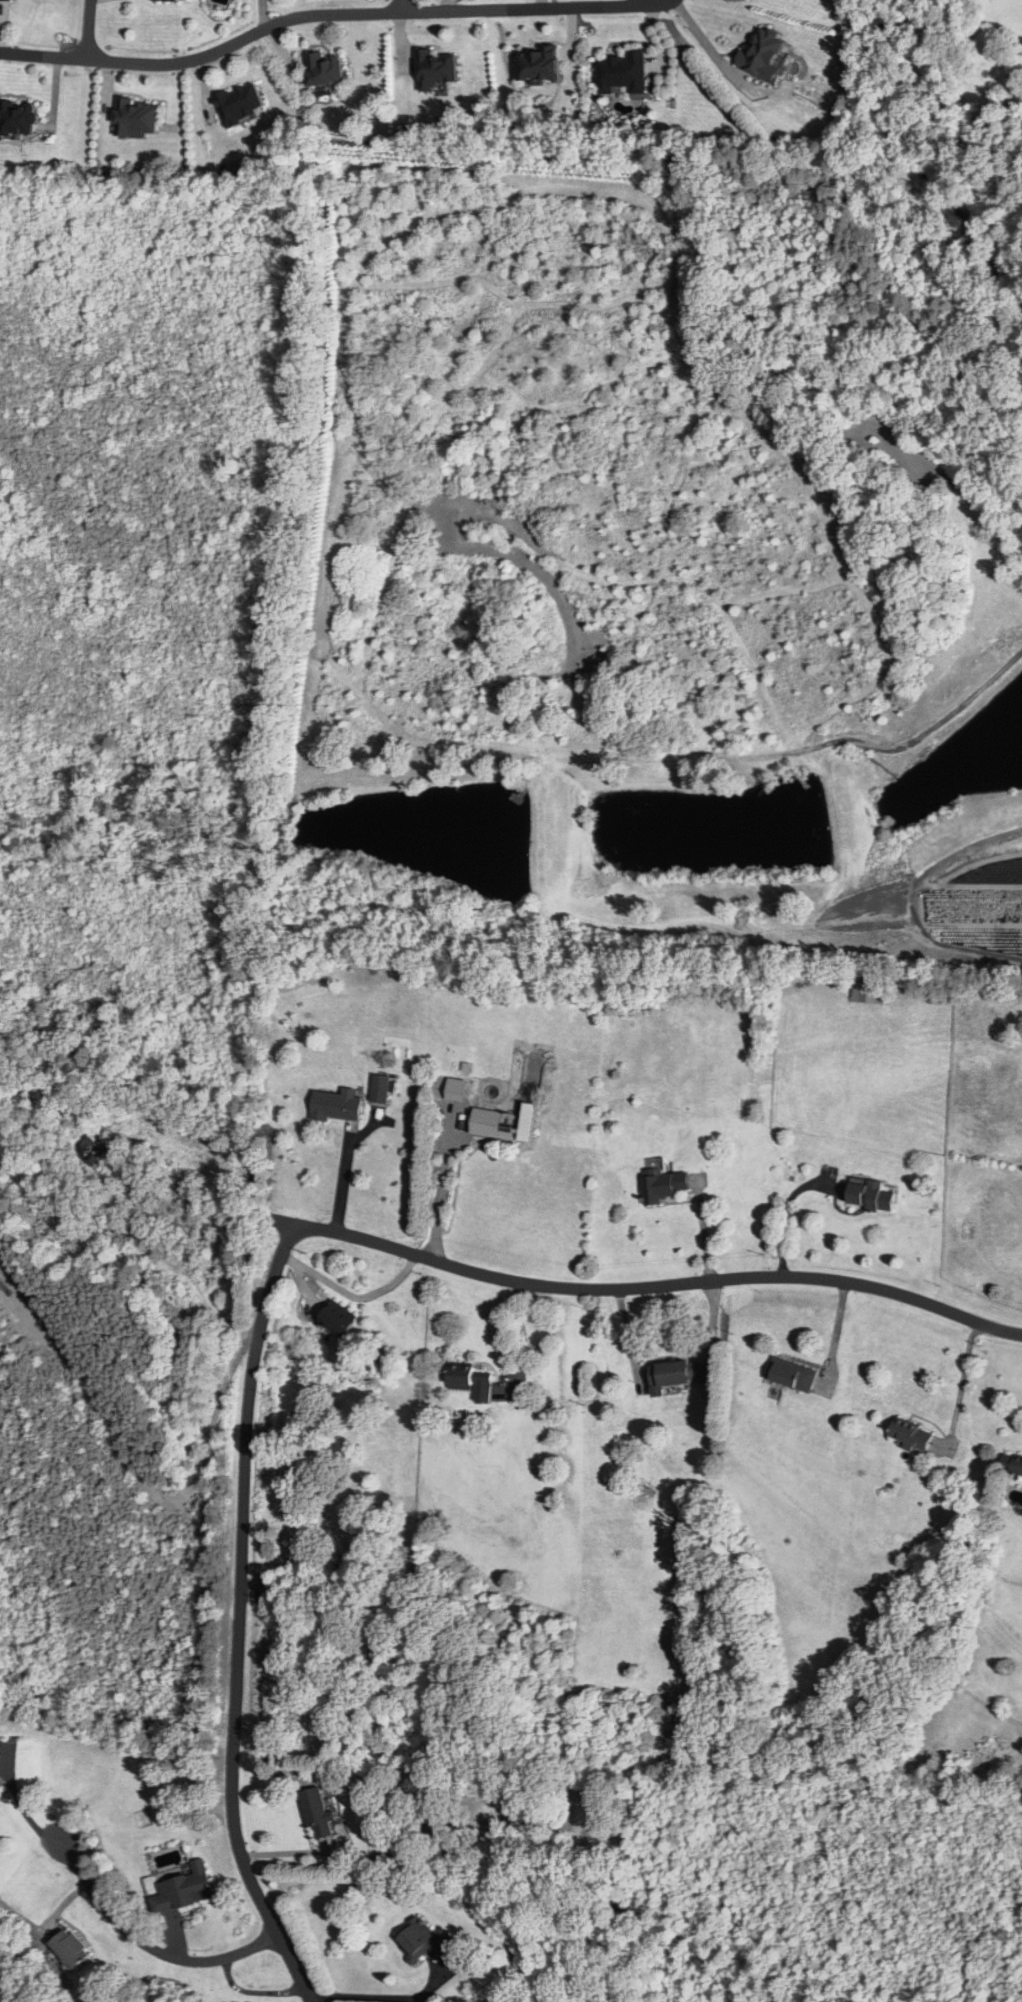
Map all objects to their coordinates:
road: (400, 6)
road: (320, 16)
road: (88, 30)
road: (707, 42)
building: (436, 68)
building: (324, 69)
building: (621, 72)
building: (239, 104)
building: (17, 117)
building: (865, 987)
building: (379, 1088)
building: (456, 1089)
building: (334, 1106)
building: (497, 1125)
building: (92, 1154)
building: (662, 1185)
building: (873, 1196)
road: (636, 1288)
building: (338, 1318)
building: (680, 1373)
building: (793, 1374)
road: (963, 1380)
building: (471, 1381)
building: (913, 1435)
building: (1012, 1463)
road: (241, 1583)
building: (0, 1781)
building: (317, 1811)
building: (182, 1889)
building: (423, 1939)
road: (146, 1943)
building: (71, 1947)
road: (386, 1998)

